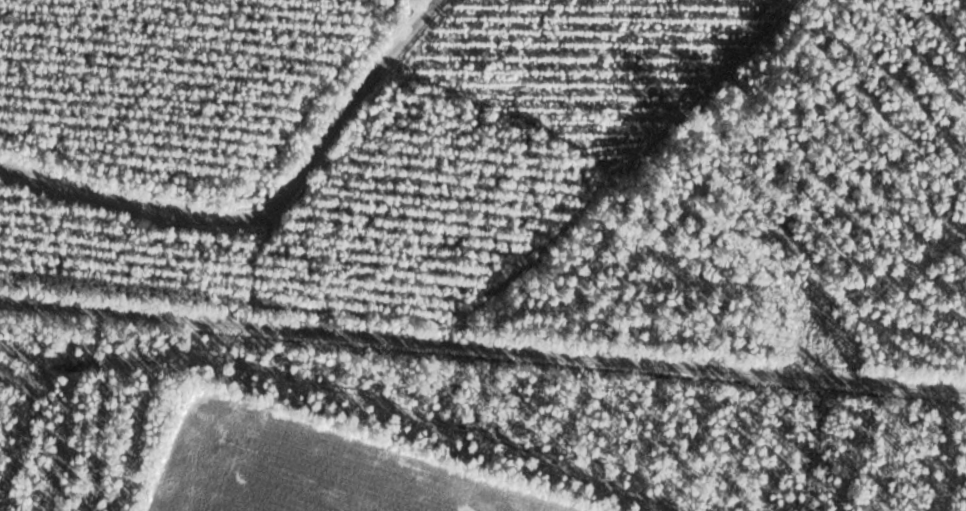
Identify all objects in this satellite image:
road: (263, 235)

